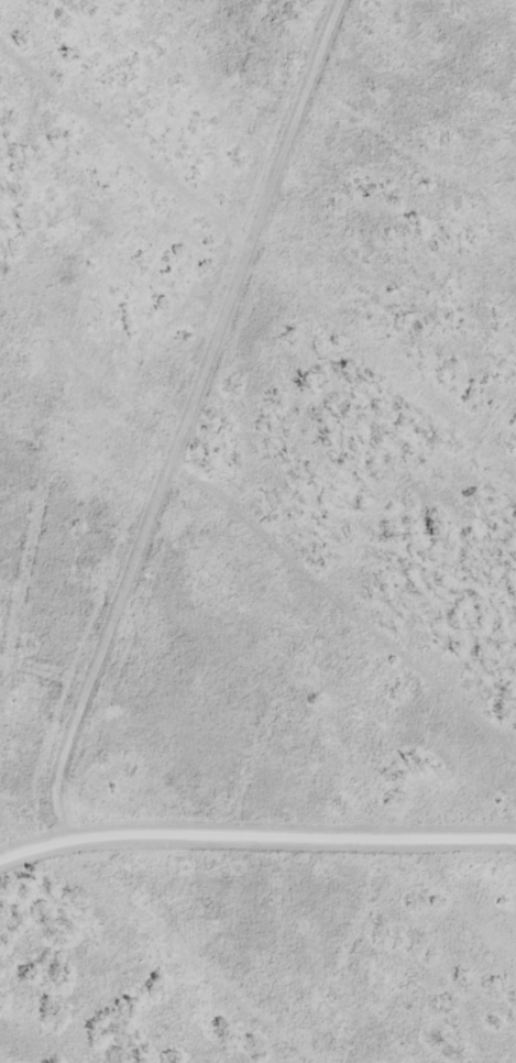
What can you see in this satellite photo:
road: (256, 837)

